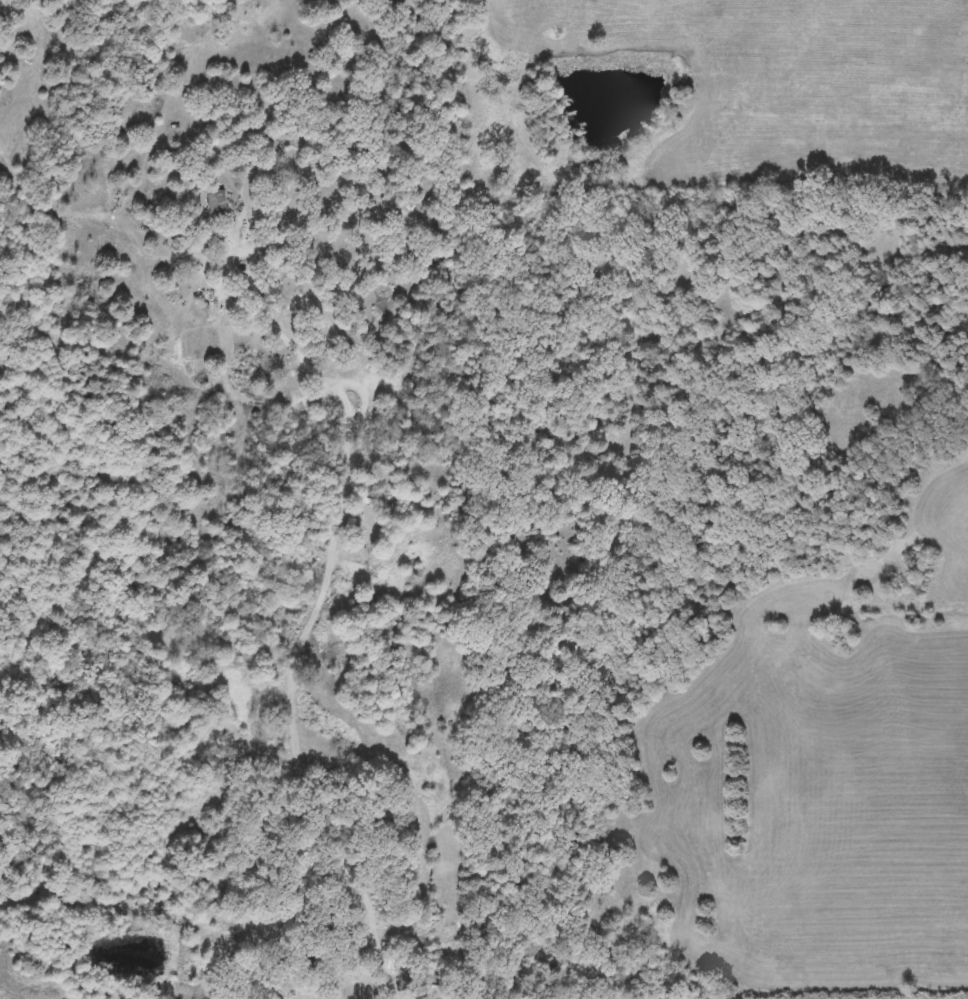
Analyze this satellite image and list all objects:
building: (277, 246)
road: (329, 563)
road: (419, 899)

